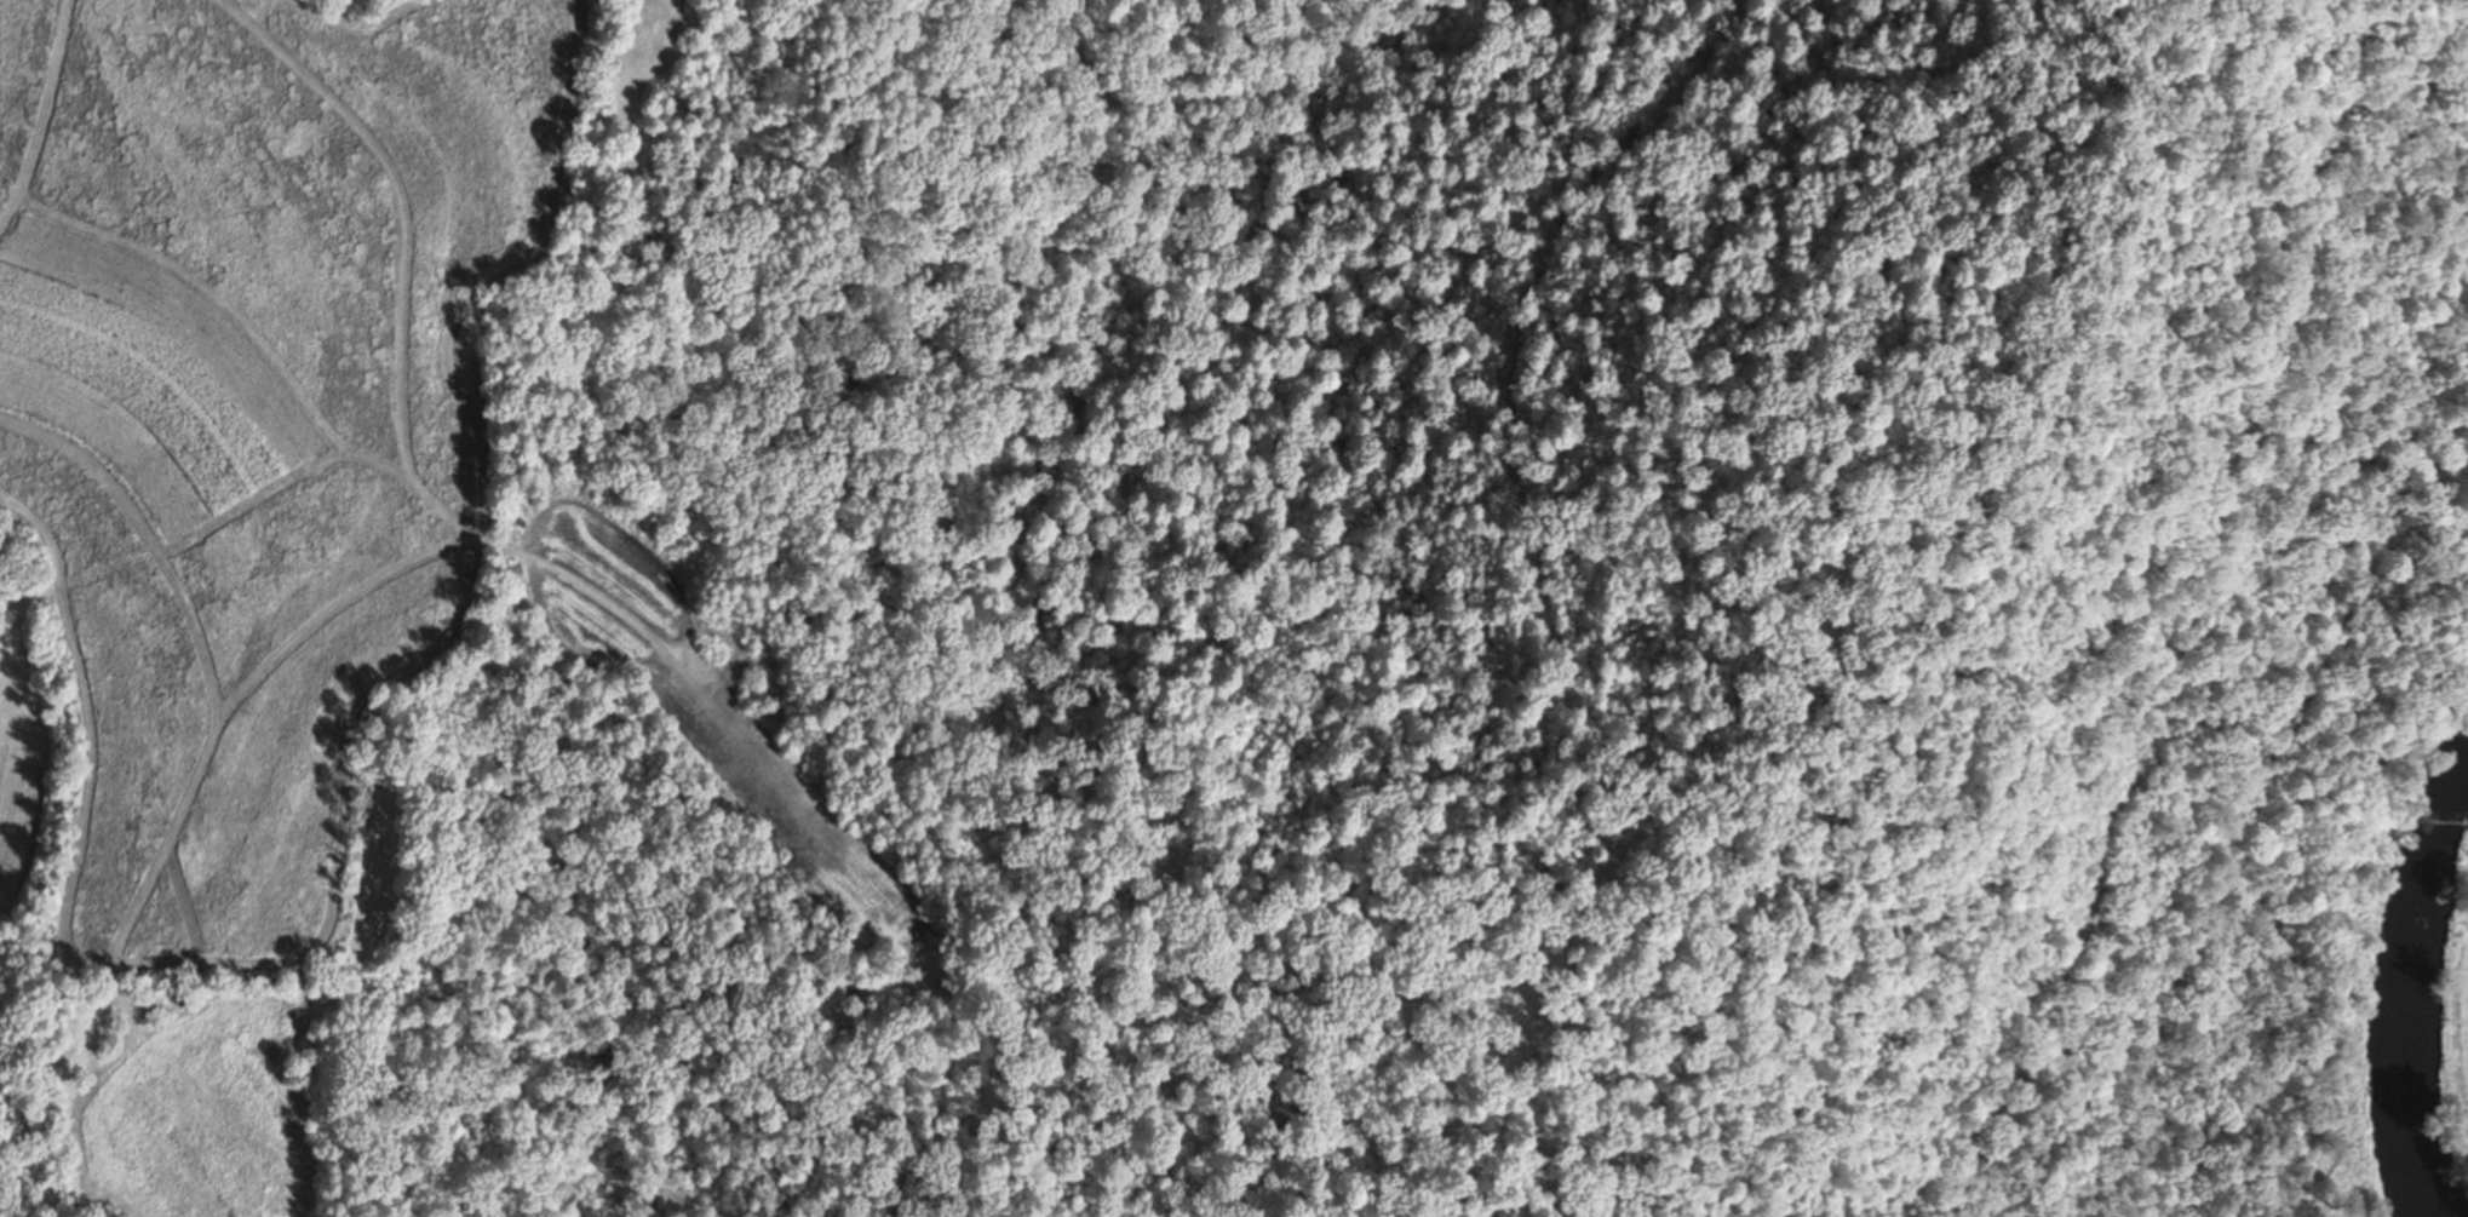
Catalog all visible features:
river: (2404, 988)

